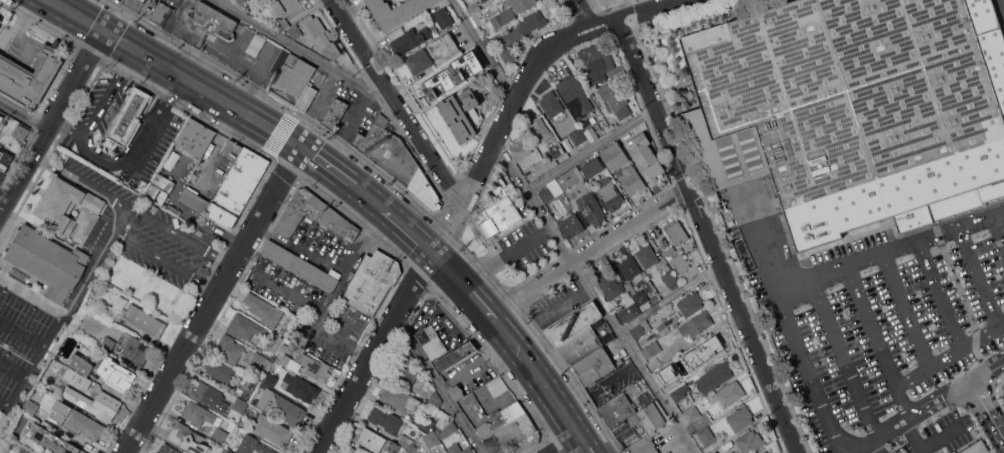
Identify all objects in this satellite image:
building: (143, 0)
building: (481, 0)
building: (484, 0)
road: (1003, 0)
building: (118, 1)
building: (244, 2)
road: (61, 4)
road: (71, 4)
building: (284, 8)
road: (645, 8)
building: (396, 11)
building: (512, 11)
road: (583, 11)
building: (475, 12)
parking lot: (999, 12)
building: (160, 13)
building: (443, 17)
road: (604, 18)
building: (0, 19)
building: (213, 19)
building: (0, 20)
building: (283, 24)
road: (347, 24)
road: (577, 26)
road: (595, 29)
building: (295, 31)
building: (520, 34)
building: (323, 38)
building: (409, 40)
building: (256, 45)
building: (444, 45)
road: (301, 49)
road: (483, 49)
building: (280, 61)
building: (419, 61)
road: (370, 63)
building: (598, 64)
building: (450, 75)
building: (29, 77)
road: (185, 77)
building: (292, 80)
road: (384, 85)
building: (575, 95)
building: (306, 97)
building: (615, 98)
road: (652, 102)
building: (552, 105)
building: (854, 110)
building: (335, 113)
building: (462, 113)
road: (23, 116)
building: (1, 117)
building: (127, 117)
road: (53, 119)
road: (70, 126)
building: (538, 129)
building: (20, 131)
building: (591, 134)
building: (195, 136)
building: (577, 136)
road: (496, 139)
road: (217, 144)
road: (425, 148)
road: (591, 148)
building: (520, 149)
building: (556, 149)
building: (388, 150)
building: (614, 156)
building: (645, 157)
road: (99, 160)
building: (4, 163)
road: (329, 165)
building: (592, 167)
building: (535, 170)
building: (227, 176)
building: (632, 180)
building: (163, 182)
road: (90, 186)
building: (238, 186)
building: (426, 191)
building: (551, 191)
building: (610, 193)
building: (581, 196)
road: (372, 197)
building: (603, 204)
building: (70, 208)
building: (499, 209)
building: (314, 215)
building: (571, 224)
road: (999, 228)
road: (215, 230)
road: (412, 231)
building: (676, 232)
road: (180, 235)
road: (889, 251)
road: (590, 252)
building: (647, 255)
building: (677, 259)
road: (165, 260)
building: (48, 261)
building: (301, 267)
building: (631, 268)
road: (86, 275)
road: (978, 277)
building: (669, 278)
building: (371, 282)
road: (466, 283)
building: (609, 286)
road: (939, 294)
road: (598, 296)
road: (33, 297)
road: (213, 299)
building: (633, 303)
building: (690, 303)
road: (311, 306)
building: (115, 308)
building: (263, 309)
road: (905, 310)
road: (743, 320)
building: (145, 321)
parking lot: (880, 322)
building: (696, 324)
road: (1001, 324)
building: (244, 326)
building: (640, 329)
building: (576, 334)
building: (427, 336)
road: (876, 341)
building: (275, 343)
building: (108, 344)
road: (963, 345)
building: (229, 348)
building: (135, 349)
building: (651, 349)
building: (436, 350)
building: (701, 350)
road: (375, 351)
building: (456, 356)
building: (283, 358)
road: (843, 358)
building: (257, 360)
building: (81, 364)
road: (36, 365)
building: (595, 365)
building: (55, 366)
building: (311, 366)
building: (220, 369)
building: (64, 370)
building: (409, 372)
building: (117, 373)
building: (666, 373)
road: (539, 377)
building: (714, 377)
road: (912, 377)
building: (79, 379)
building: (269, 379)
road: (438, 386)
building: (245, 387)
building: (301, 387)
building: (457, 391)
building: (680, 393)
building: (730, 393)
building: (210, 396)
building: (400, 399)
building: (435, 399)
building: (84, 401)
building: (240, 404)
road: (5, 405)
building: (109, 406)
building: (281, 406)
building: (29, 407)
building: (62, 409)
building: (617, 409)
road: (986, 410)
building: (692, 413)
building: (200, 414)
building: (502, 418)
building: (740, 418)
building: (385, 419)
building: (647, 420)
building: (427, 423)
building: (85, 424)
building: (272, 429)
building: (447, 429)
building: (220, 434)
building: (517, 435)
building: (706, 436)
road: (912, 436)
road: (941, 437)
building: (188, 438)
building: (370, 439)
building: (431, 439)
building: (54, 440)
building: (405, 441)
building: (749, 441)
building: (253, 445)
road: (568, 445)
road: (587, 445)
road: (852, 445)
building: (643, 446)
road: (876, 446)
building: (392, 447)
road: (841, 447)
building: (412, 448)
building: (976, 448)
building: (169, 449)
building: (460, 449)
building: (354, 450)
building: (28, 451)
building: (230, 452)
building: (731, 452)
building: (766, 452)
building: (953, 452)

